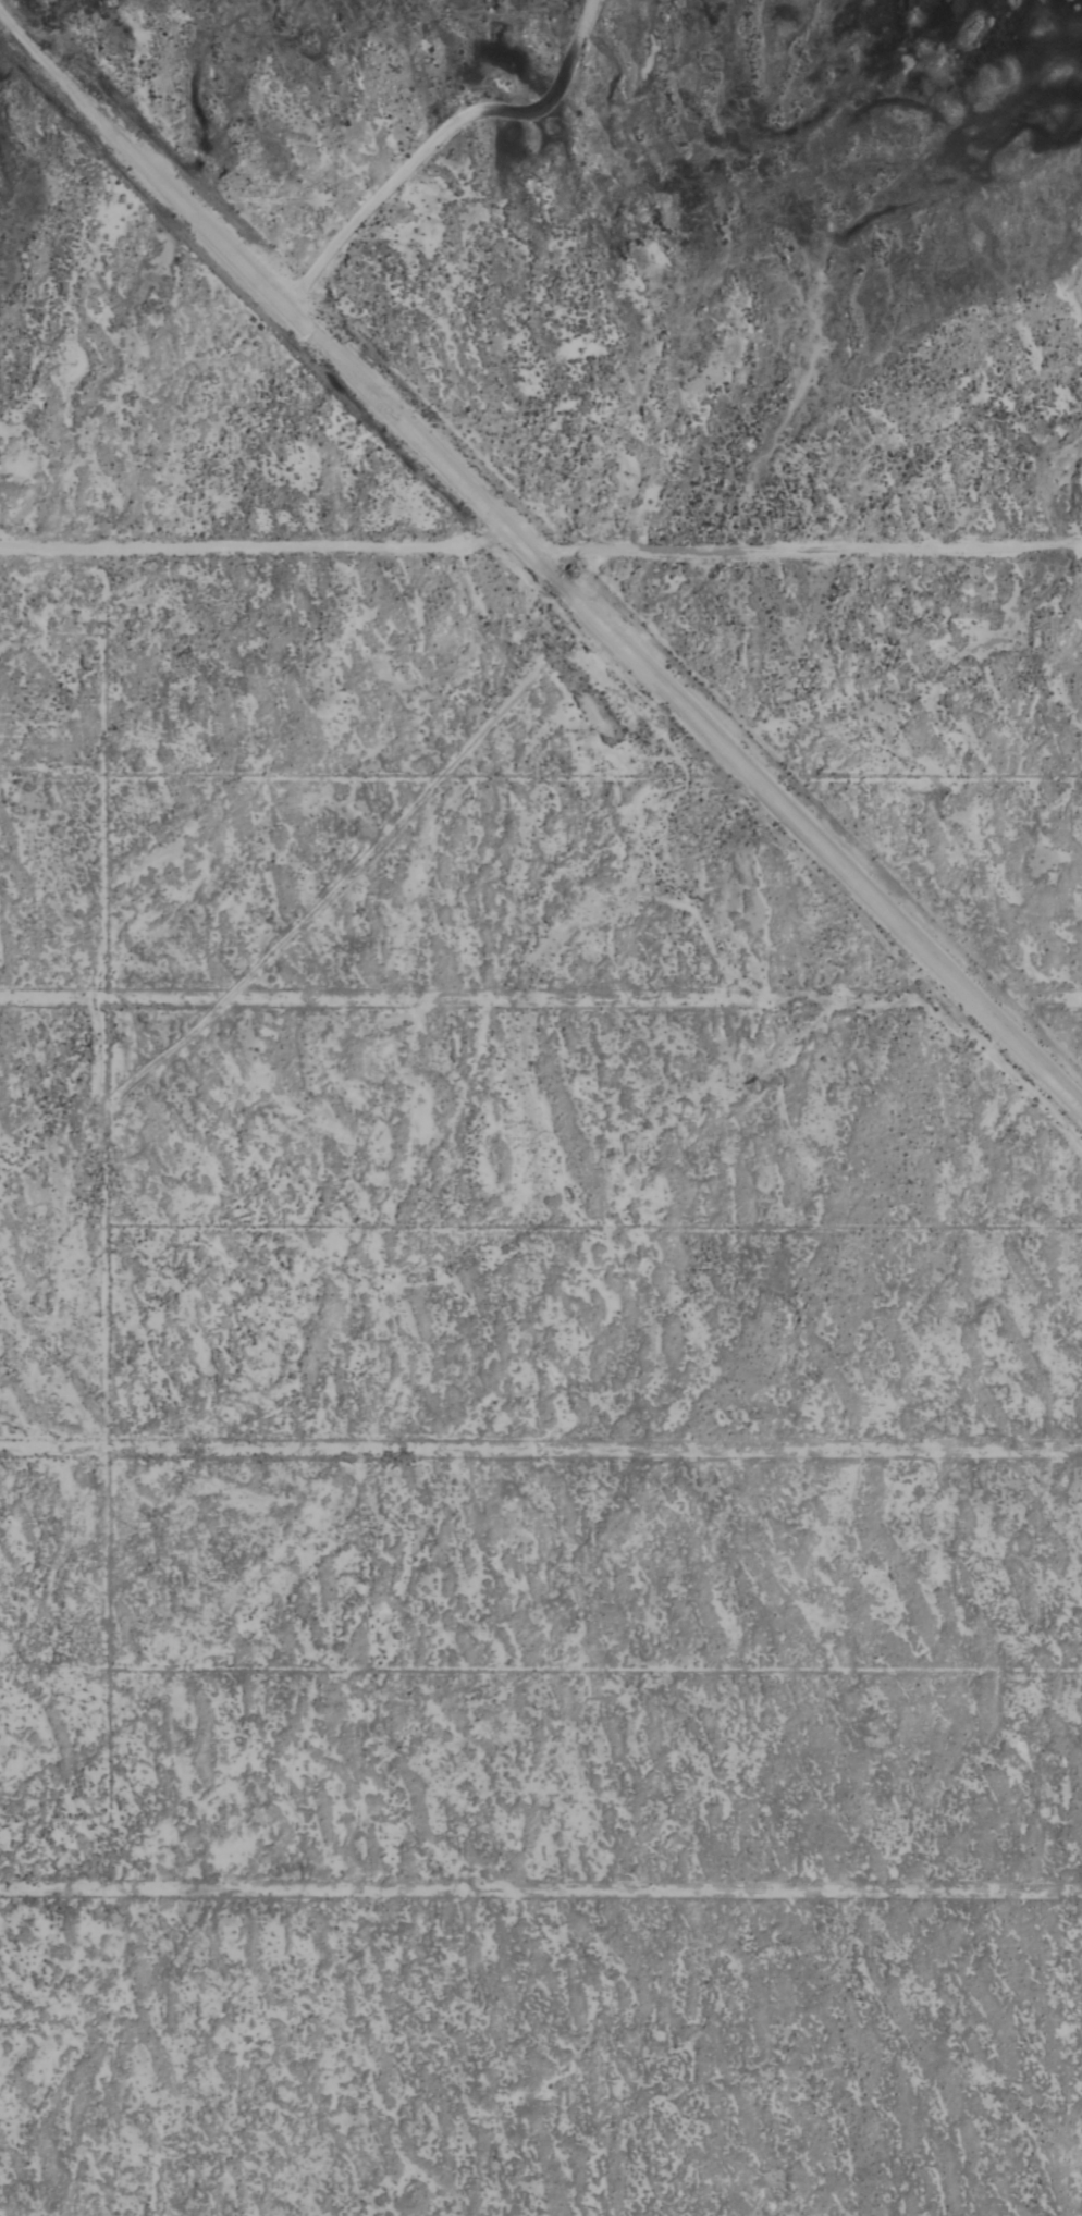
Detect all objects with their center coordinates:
road: (438, 134)
road: (541, 563)

